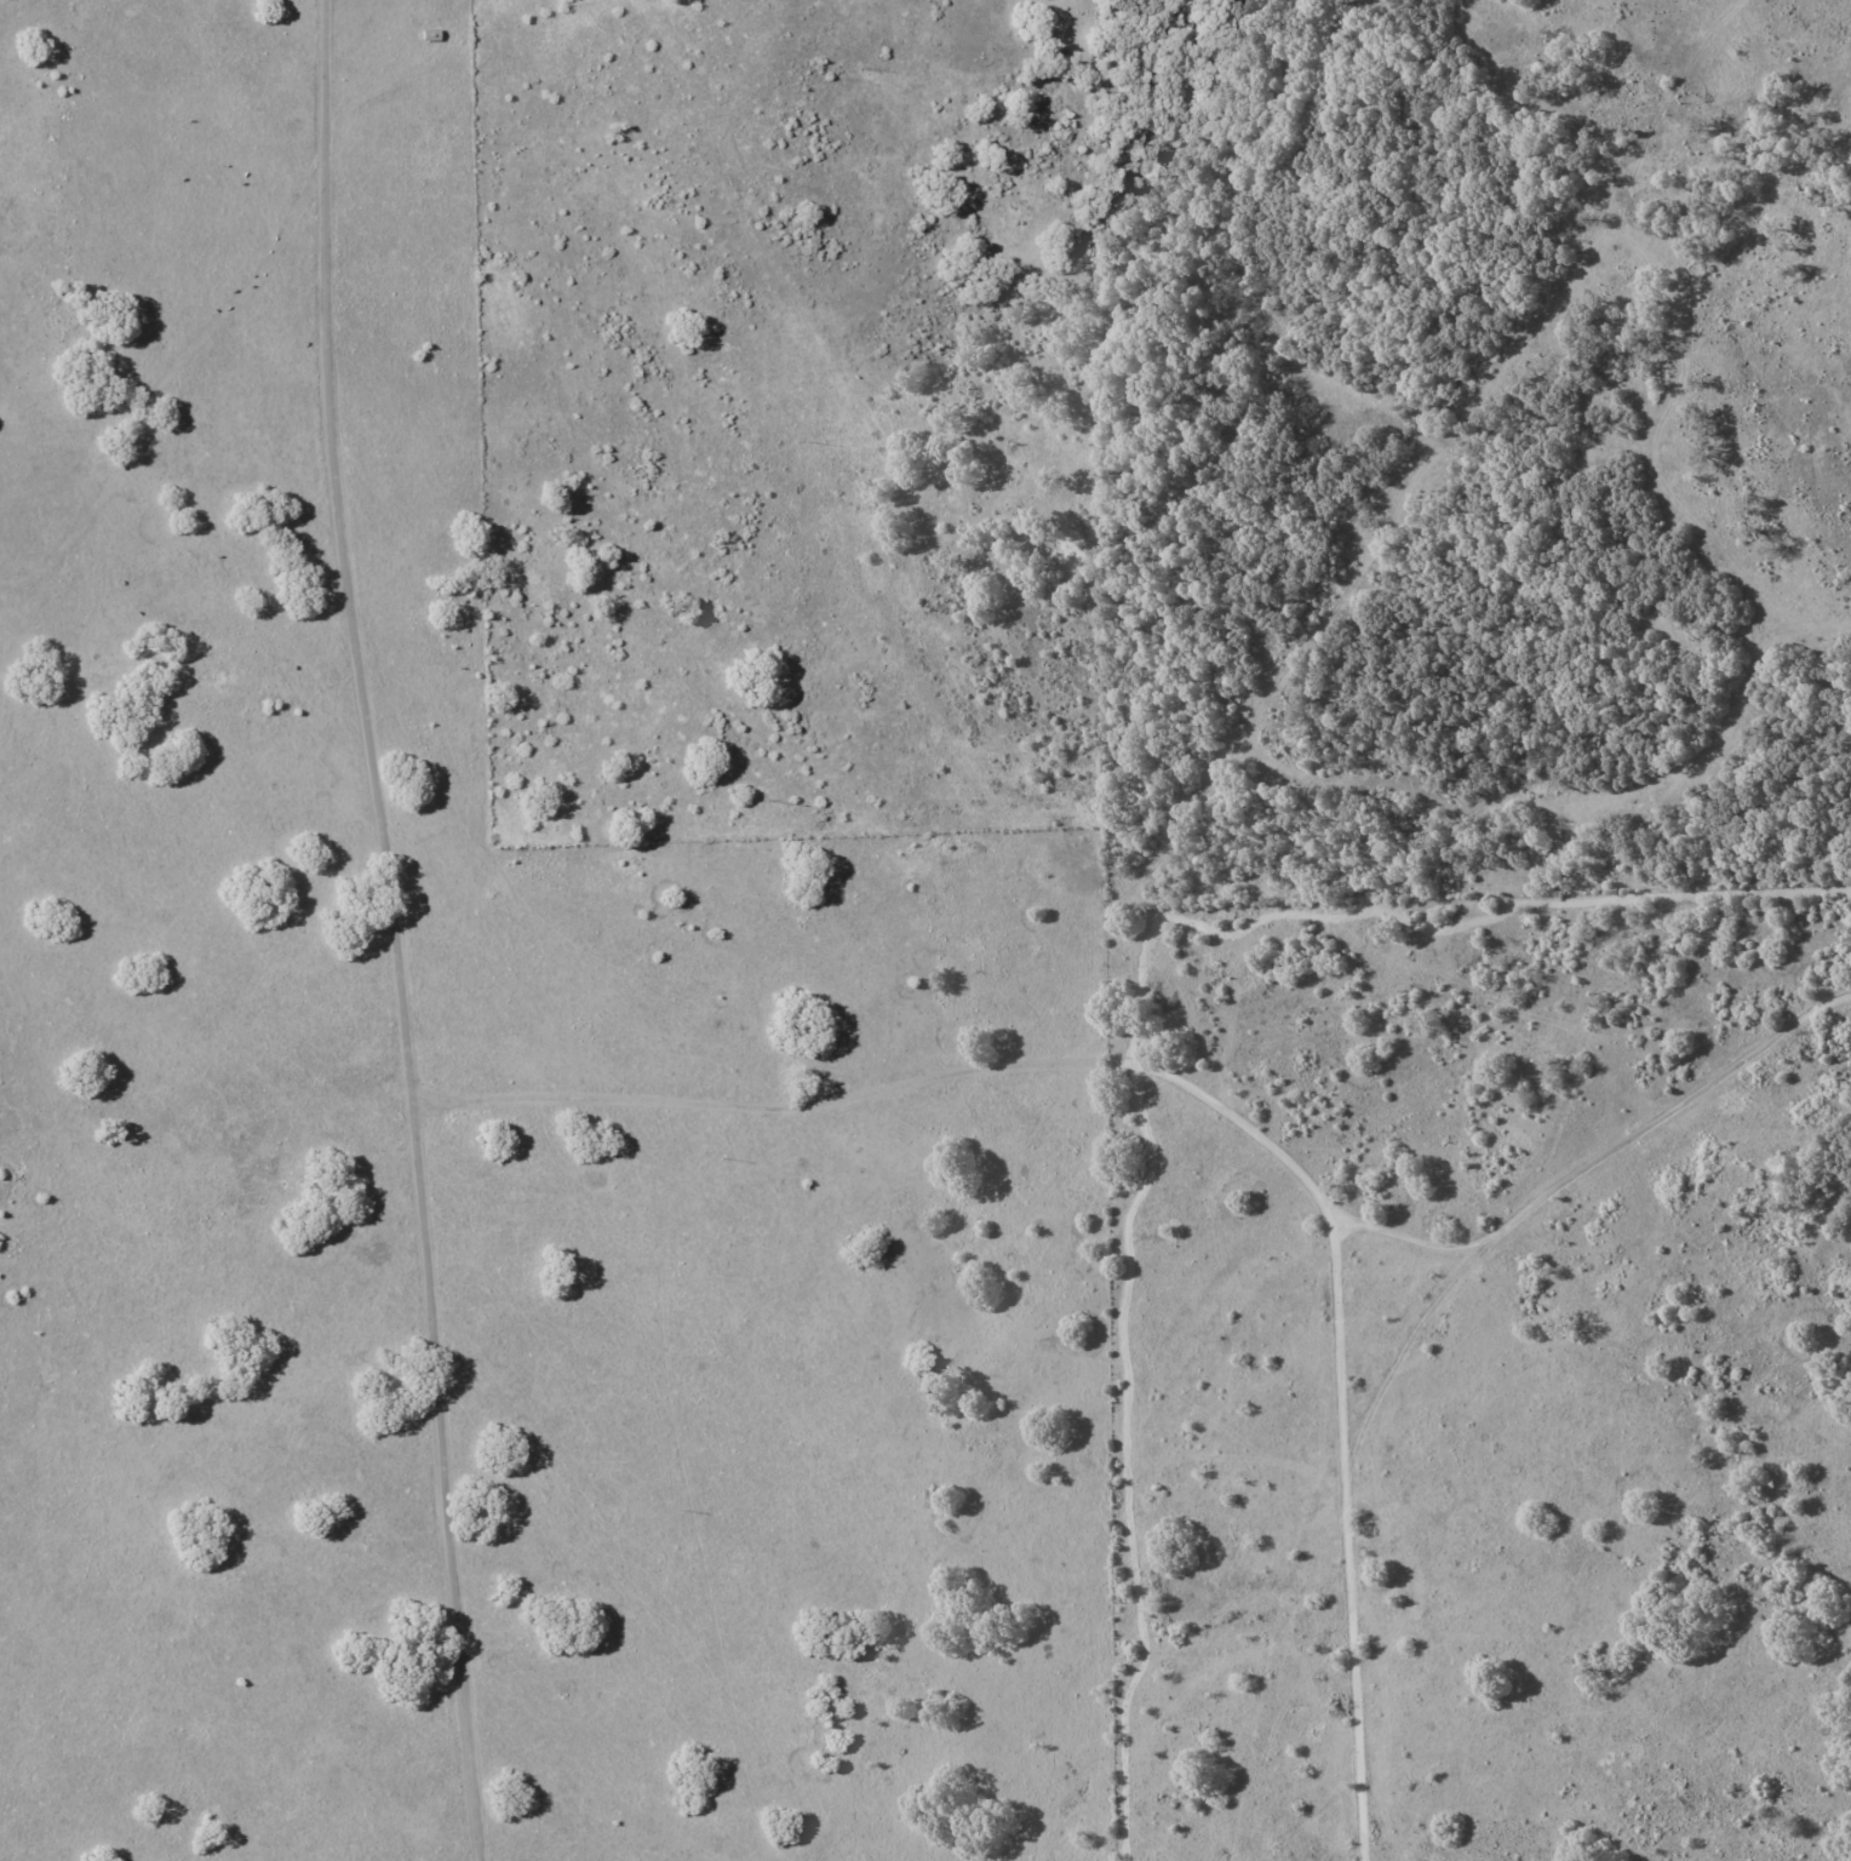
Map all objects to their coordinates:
building: (432, 35)
road: (411, 929)
road: (1221, 1109)

